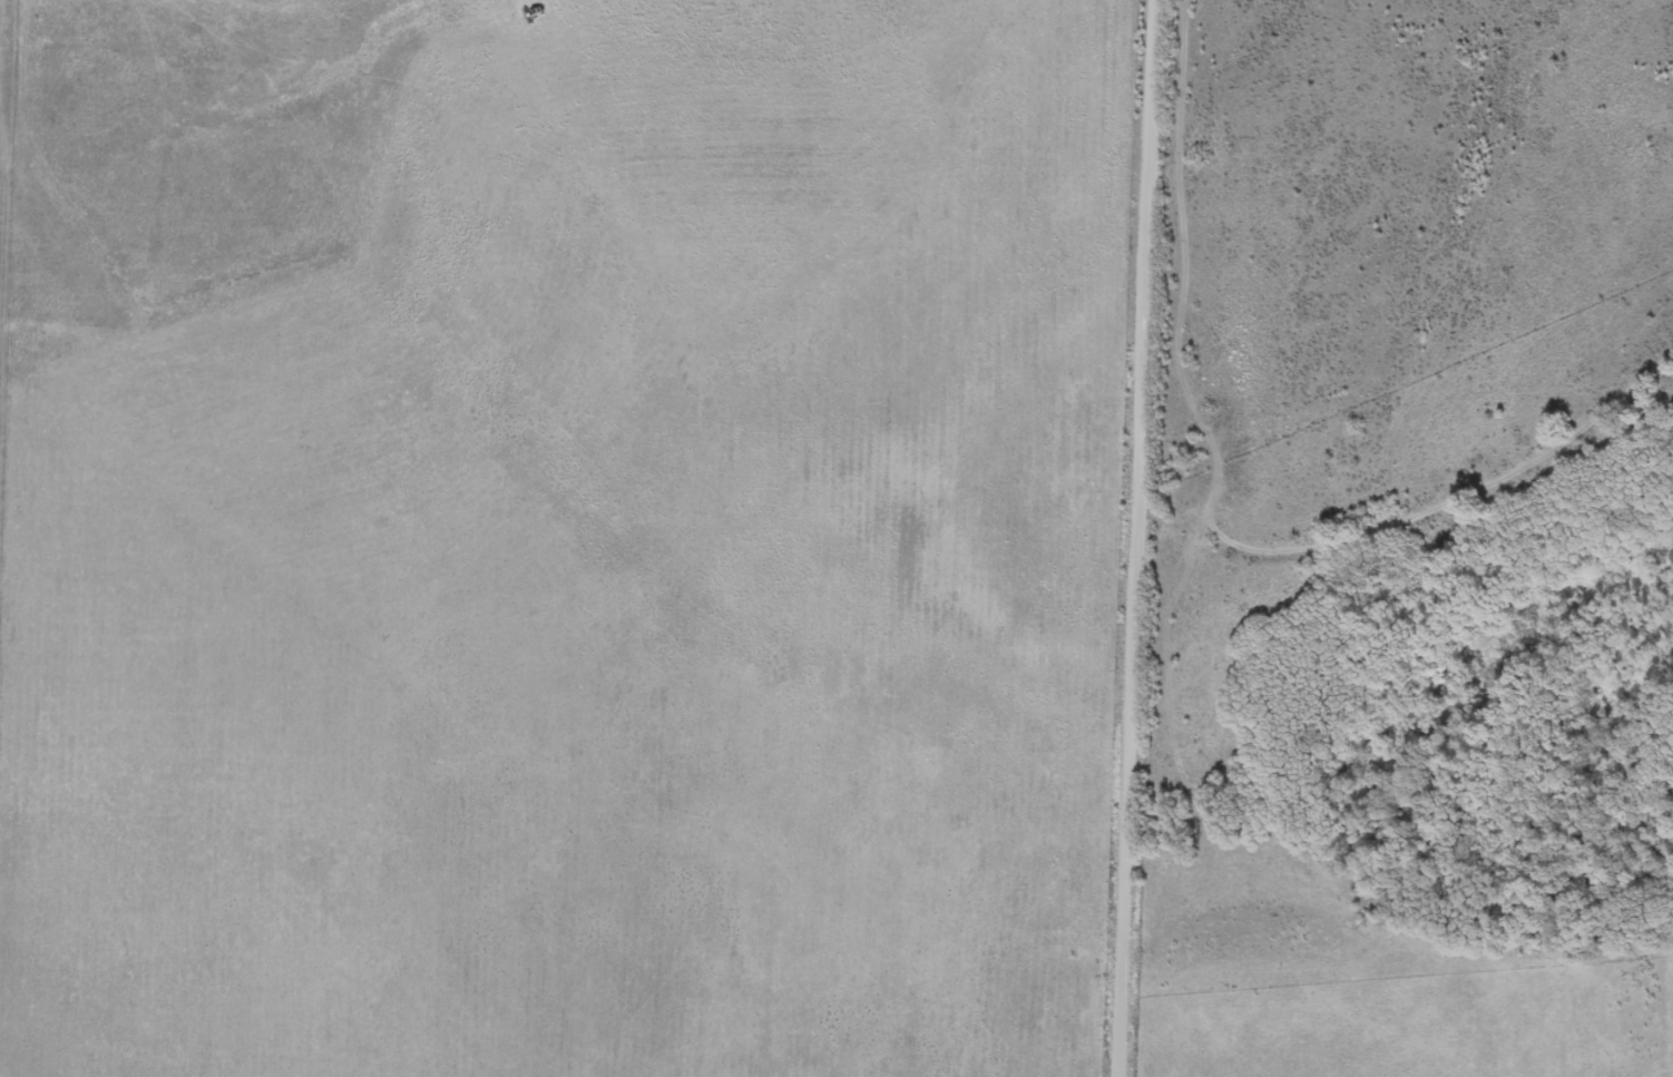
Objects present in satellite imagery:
road: (1449, 489)
road: (1138, 538)

